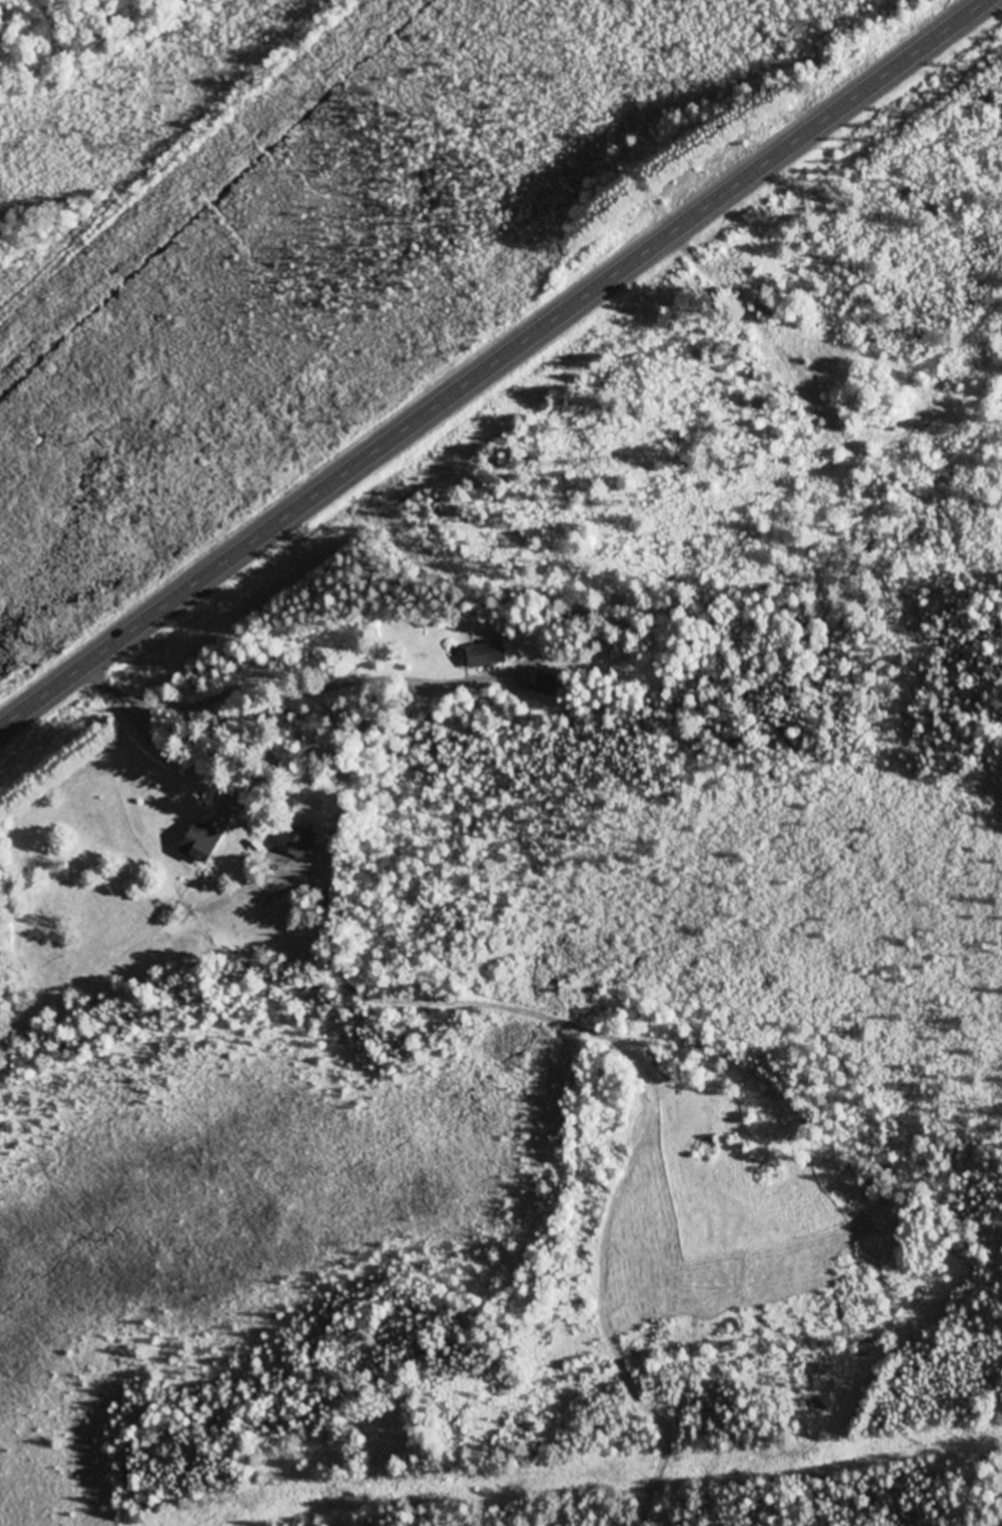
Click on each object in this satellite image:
road: (494, 365)
building: (297, 841)
building: (206, 845)

